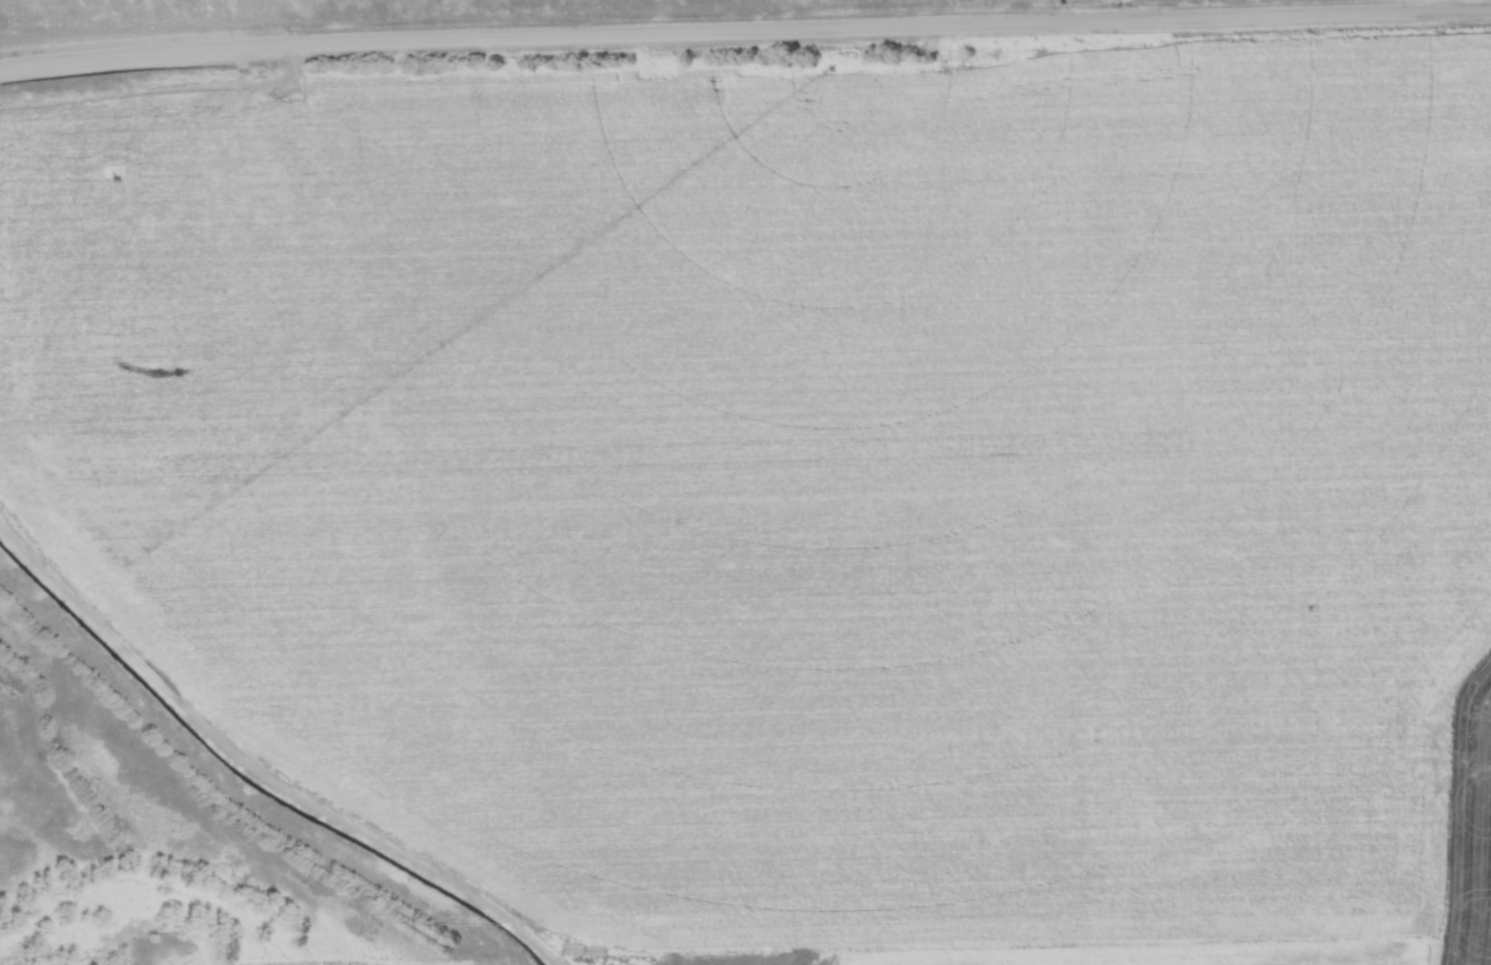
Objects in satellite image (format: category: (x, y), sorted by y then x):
road: (745, 31)

